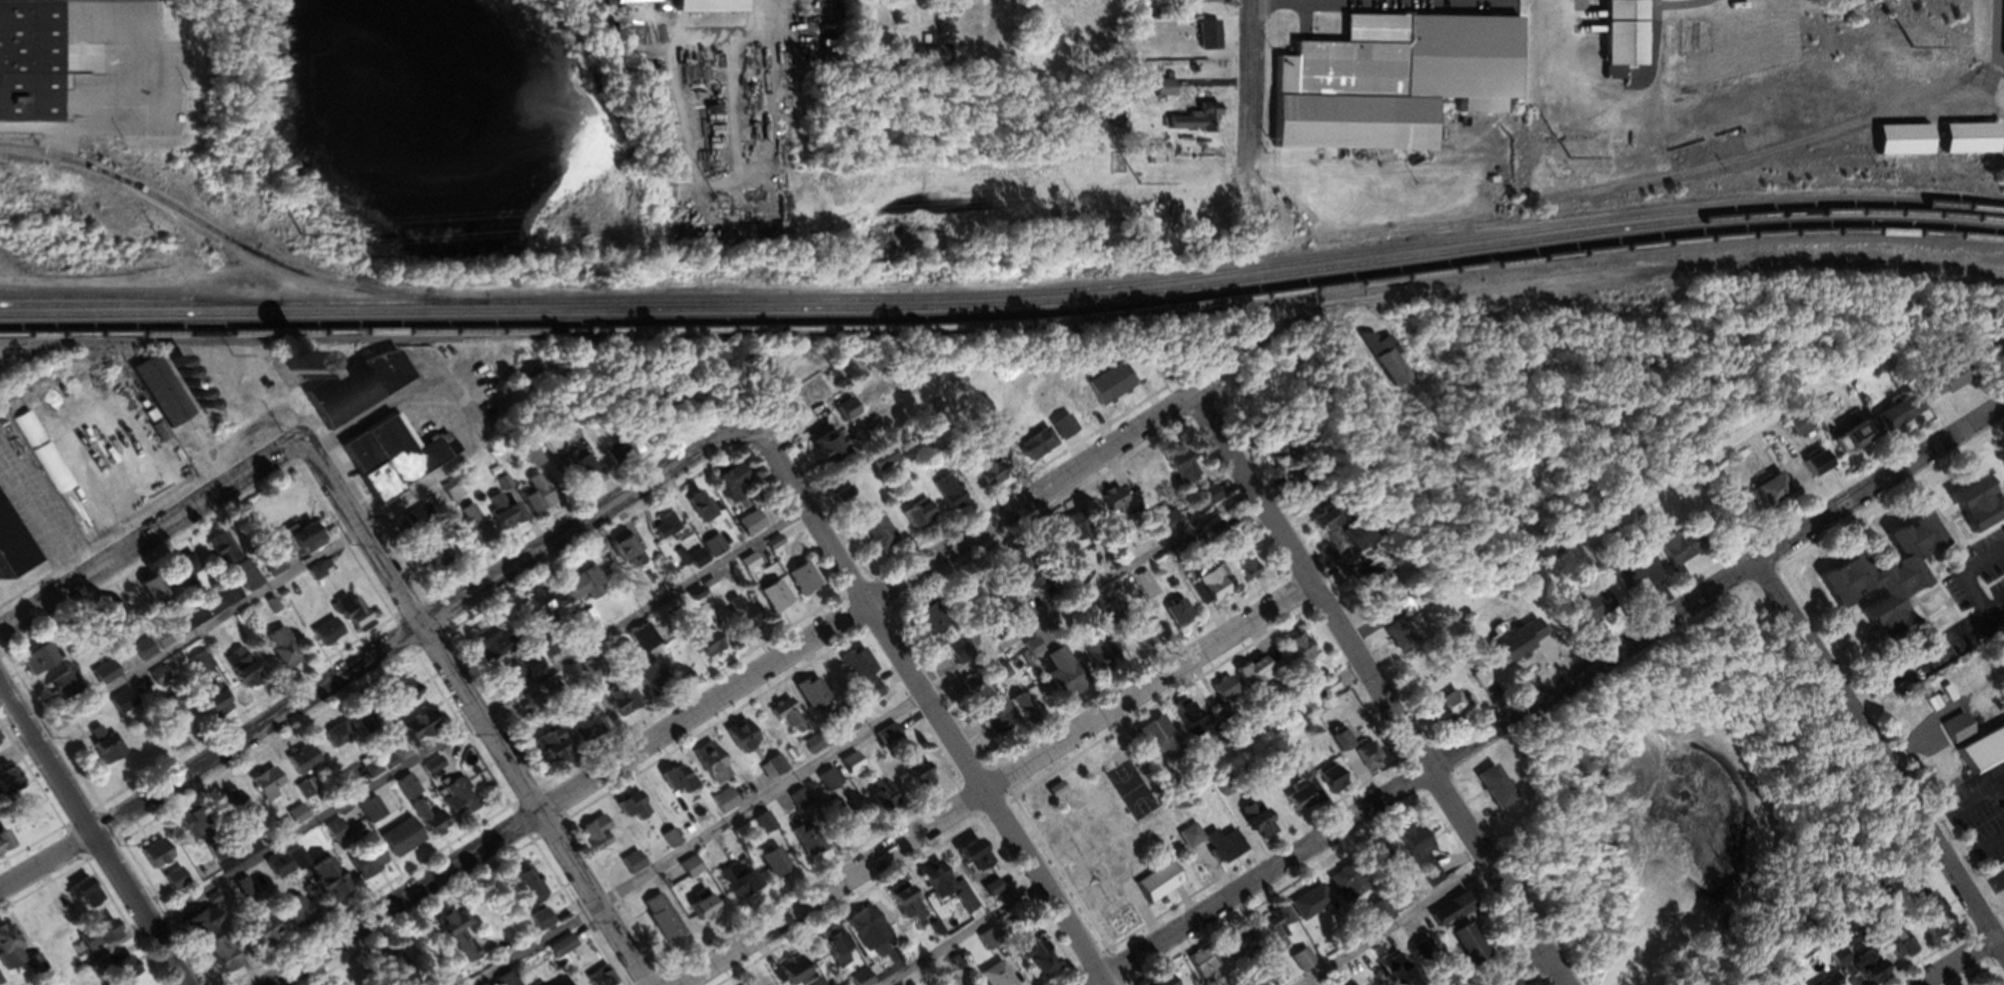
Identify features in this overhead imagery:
building: (834, 1)
building: (641, 3)
building: (1201, 4)
building: (717, 8)
road: (777, 28)
building: (1202, 40)
building: (1618, 40)
power tower: (1906, 52)
building: (32, 64)
building: (1381, 82)
road: (1250, 86)
building: (1155, 92)
building: (1186, 123)
building: (1965, 143)
building: (1900, 144)
building: (1154, 159)
power tower: (1563, 163)
power tower: (1573, 185)
power tower: (1139, 190)
power tower: (1265, 194)
power tower: (1071, 206)
power tower: (717, 214)
power tower: (298, 240)
power tower: (309, 258)
power tower: (223, 261)
road: (1662, 272)
railway: (1004, 300)
railway: (139, 303)
railway: (1004, 310)
railway: (1004, 320)
railway: (1004, 329)
road: (1254, 345)
building: (1941, 384)
building: (1104, 389)
building: (366, 390)
building: (165, 396)
building: (1893, 417)
building: (1796, 429)
building: (1852, 444)
building: (1279, 447)
building: (1032, 448)
building: (817, 451)
building: (44, 457)
building: (617, 459)
building: (396, 461)
building: (875, 463)
building: (582, 469)
building: (1814, 469)
building: (981, 475)
building: (1181, 475)
building: (736, 486)
building: (453, 494)
building: (1770, 494)
building: (943, 498)
building: (1207, 501)
building: (539, 502)
building: (1112, 506)
building: (1970, 509)
building: (702, 511)
building: (507, 517)
building: (910, 518)
building: (475, 528)
building: (756, 528)
building: (1159, 529)
building: (1320, 529)
building: (667, 531)
building: (1057, 531)
building: (423, 533)
building: (873, 533)
road: (150, 534)
building: (311, 539)
building: (1355, 540)
building: (16, 545)
building: (224, 552)
building: (1666, 553)
building: (628, 557)
building: (1237, 565)
building: (188, 572)
building: (1629, 577)
building: (1883, 578)
building: (1016, 579)
building: (799, 583)
building: (1373, 588)
building: (584, 589)
road: (1972, 589)
building: (1140, 590)
building: (1203, 592)
building: (155, 596)
building: (770, 601)
building: (973, 602)
building: (1583, 611)
building: (546, 612)
building: (1172, 616)
building: (359, 618)
building: (734, 618)
building: (1012, 619)
road: (1998, 621)
building: (929, 623)
road: (190, 635)
building: (330, 636)
building: (1138, 639)
building: (1395, 639)
building: (1516, 645)
building: (500, 647)
building: (698, 649)
building: (286, 652)
building: (145, 653)
building: (1029, 653)
building: (1293, 653)
road: (369, 658)
building: (1092, 662)
building: (44, 663)
building: (537, 668)
road: (1922, 668)
building: (202, 669)
building: (108, 676)
building: (999, 676)
building: (1251, 678)
building: (855, 680)
building: (1059, 680)
building: (649, 681)
road: (1380, 688)
building: (68, 690)
road: (731, 690)
building: (1324, 692)
road: (1548, 694)
building: (409, 695)
building: (806, 696)
building: (1222, 696)
road: (930, 702)
building: (218, 703)
building: (125, 706)
road: (477, 712)
building: (1444, 713)
building: (365, 718)
building: (1000, 718)
building: (782, 720)
building: (1182, 726)
road: (485, 727)
building: (844, 727)
building: (424, 729)
building: (578, 731)
road: (865, 735)
building: (1955, 736)
building: (339, 739)
building: (734, 741)
building: (1149, 742)
building: (0, 743)
building: (1340, 744)
building: (809, 748)
building: (547, 753)
building: (1979, 754)
building: (110, 755)
road: (1881, 757)
building: (1366, 763)
building: (305, 764)
building: (706, 768)
building: (437, 769)
building: (849, 769)
building: (769, 771)
building: (914, 779)
road: (996, 783)
building: (825, 784)
building: (672, 785)
building: (11, 786)
building: (1330, 786)
building: (271, 787)
building: (409, 791)
building: (1488, 793)
building: (461, 803)
building: (878, 803)
building: (721, 806)
building: (1295, 807)
building: (235, 810)
park: (1704, 810)
building: (628, 811)
road: (1967, 813)
building: (374, 814)
building: (430, 821)
building: (1248, 824)
building: (203, 827)
building: (840, 828)
park: (1082, 832)
road: (94, 834)
building: (589, 834)
building: (405, 841)
building: (1184, 841)
building: (6, 847)
building: (1217, 850)
building: (1415, 856)
road: (1978, 856)
building: (160, 858)
building: (967, 859)
building: (1376, 860)
building: (371, 864)
building: (769, 864)
building: (288, 867)
building: (629, 867)
building: (178, 883)
building: (332, 884)
building: (731, 885)
building: (1342, 885)
building: (930, 886)
building: (518, 888)
building: (1150, 888)
road: (1988, 892)
building: (89, 898)
building: (1306, 907)
building: (904, 910)
building: (695, 912)
building: (1376, 916)
building: (301, 917)
building: (1442, 918)
building: (656, 923)
building: (536, 925)
building: (862, 926)
building: (1274, 926)
road: (1401, 926)
building: (1929, 931)
building: (199, 932)
building: (269, 934)
road: (971, 936)
building: (104, 939)
building: (450, 940)
building: (828, 947)
building: (1464, 949)
building: (1895, 949)
building: (226, 955)
building: (560, 955)
building: (18, 958)
building: (1032, 962)
road: (1957, 962)
building: (1299, 964)
building: (1202, 968)
building: (386, 971)
road: (1527, 971)
building: (129, 974)
building: (1260, 975)
building: (792, 976)
building: (990, 977)
building: (1387, 978)
building: (595, 979)
building: (502, 981)
building: (1161, 982)
building: (0, 983)
building: (1828, 983)

